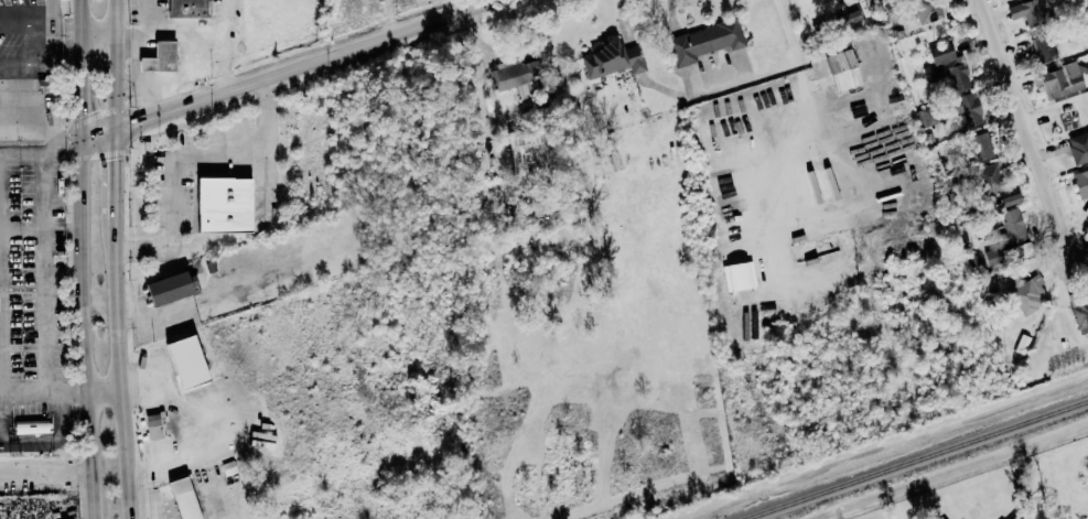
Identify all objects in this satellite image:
building: (185, 9)
building: (927, 11)
building: (1026, 12)
road: (109, 17)
road: (631, 17)
road: (395, 18)
building: (849, 18)
road: (39, 21)
road: (787, 28)
road: (33, 30)
road: (94, 33)
road: (185, 34)
road: (55, 40)
building: (704, 42)
building: (1041, 47)
road: (109, 58)
road: (137, 58)
building: (158, 58)
building: (612, 60)
road: (29, 64)
building: (947, 66)
road: (287, 69)
building: (842, 71)
road: (478, 73)
road: (190, 74)
building: (509, 77)
building: (1060, 79)
road: (148, 83)
road: (109, 107)
road: (1031, 131)
road: (39, 133)
building: (979, 145)
building: (1078, 148)
road: (54, 151)
building: (524, 151)
road: (180, 155)
road: (108, 170)
building: (989, 179)
building: (1080, 183)
building: (1009, 201)
building: (222, 205)
road: (41, 230)
building: (1013, 235)
building: (1086, 242)
road: (84, 259)
building: (739, 275)
building: (166, 288)
building: (1026, 294)
road: (45, 296)
building: (1080, 316)
road: (2, 348)
building: (184, 363)
road: (116, 364)
road: (104, 391)
road: (67, 397)
building: (30, 426)
building: (152, 426)
railway: (915, 459)
road: (45, 472)
building: (181, 498)
building: (1011, 518)

